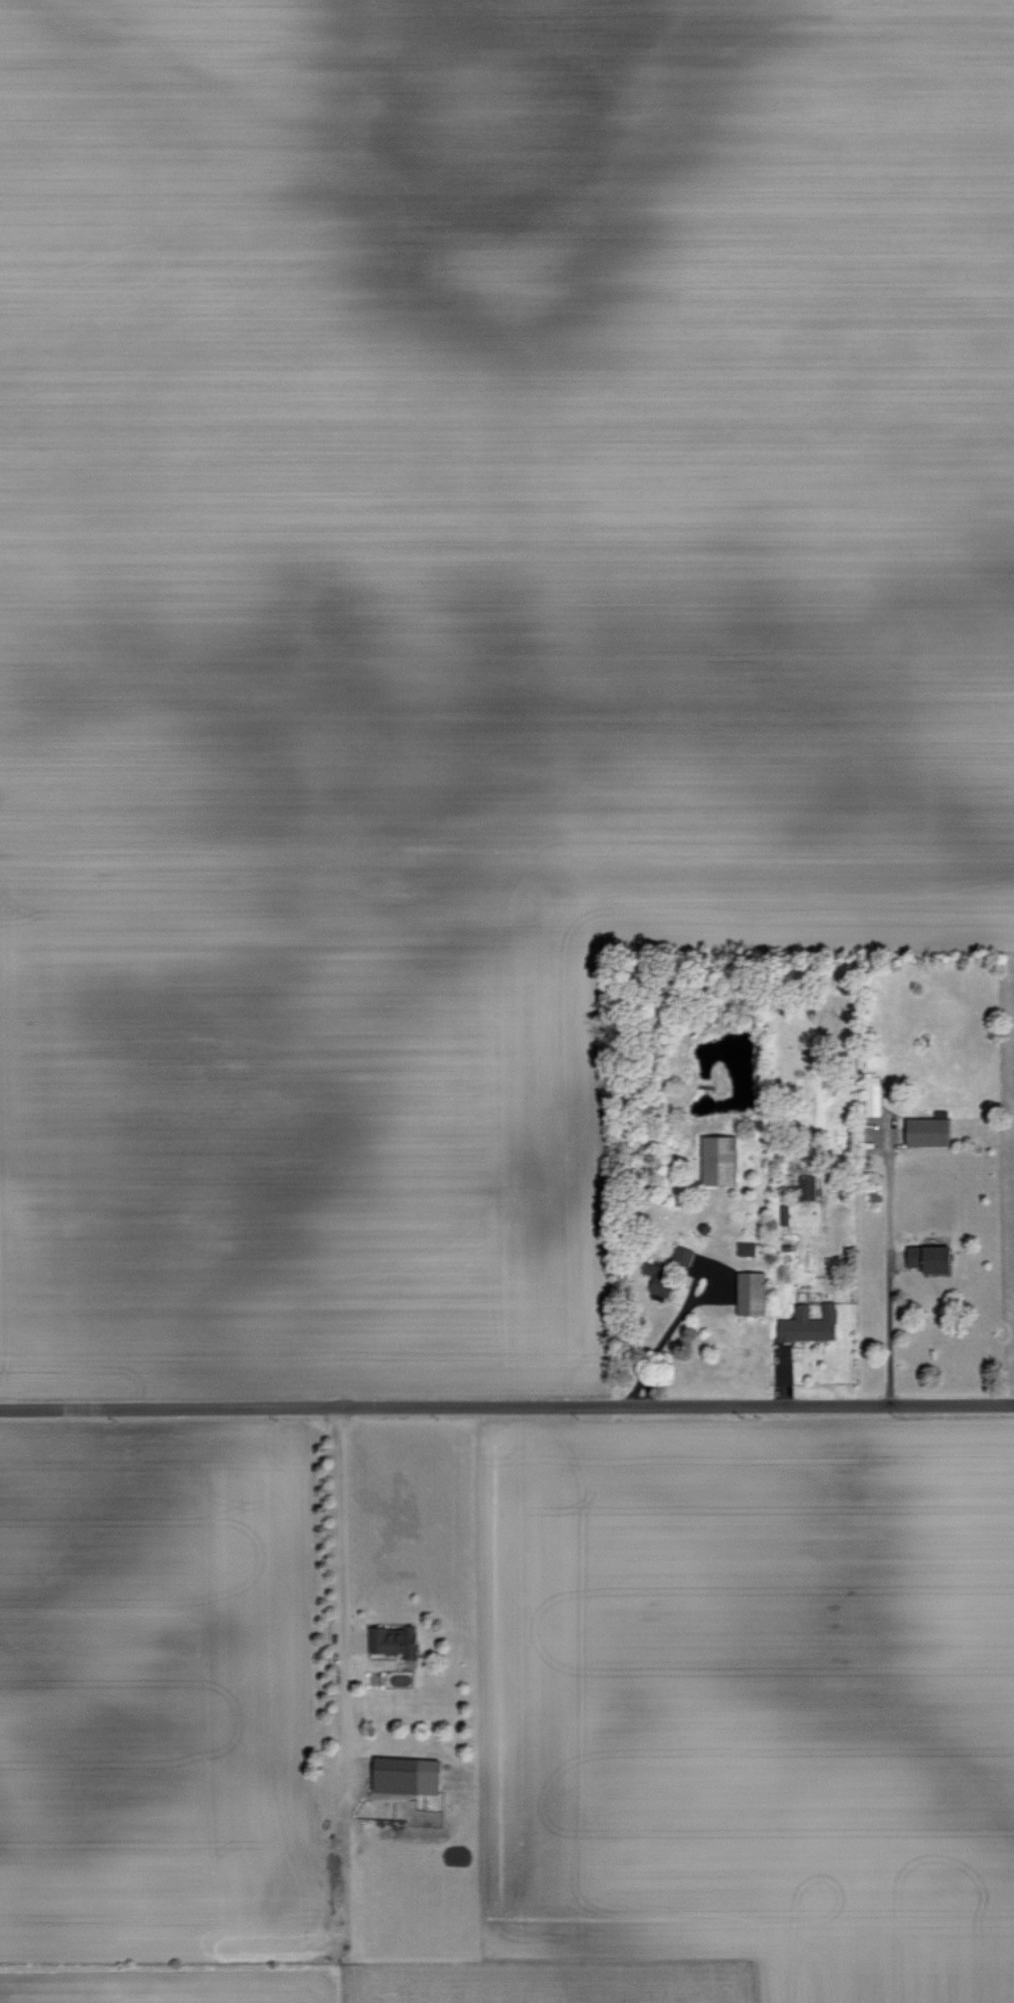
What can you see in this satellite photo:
building: (873, 1093)
building: (929, 1131)
building: (719, 1160)
building: (807, 1187)
building: (784, 1214)
building: (747, 1248)
building: (683, 1257)
building: (930, 1258)
building: (661, 1281)
building: (751, 1293)
road: (685, 1313)
building: (810, 1324)
road: (890, 1330)
road: (649, 1392)
road: (506, 1405)
road: (345, 1600)
building: (394, 1640)
building: (407, 1775)

